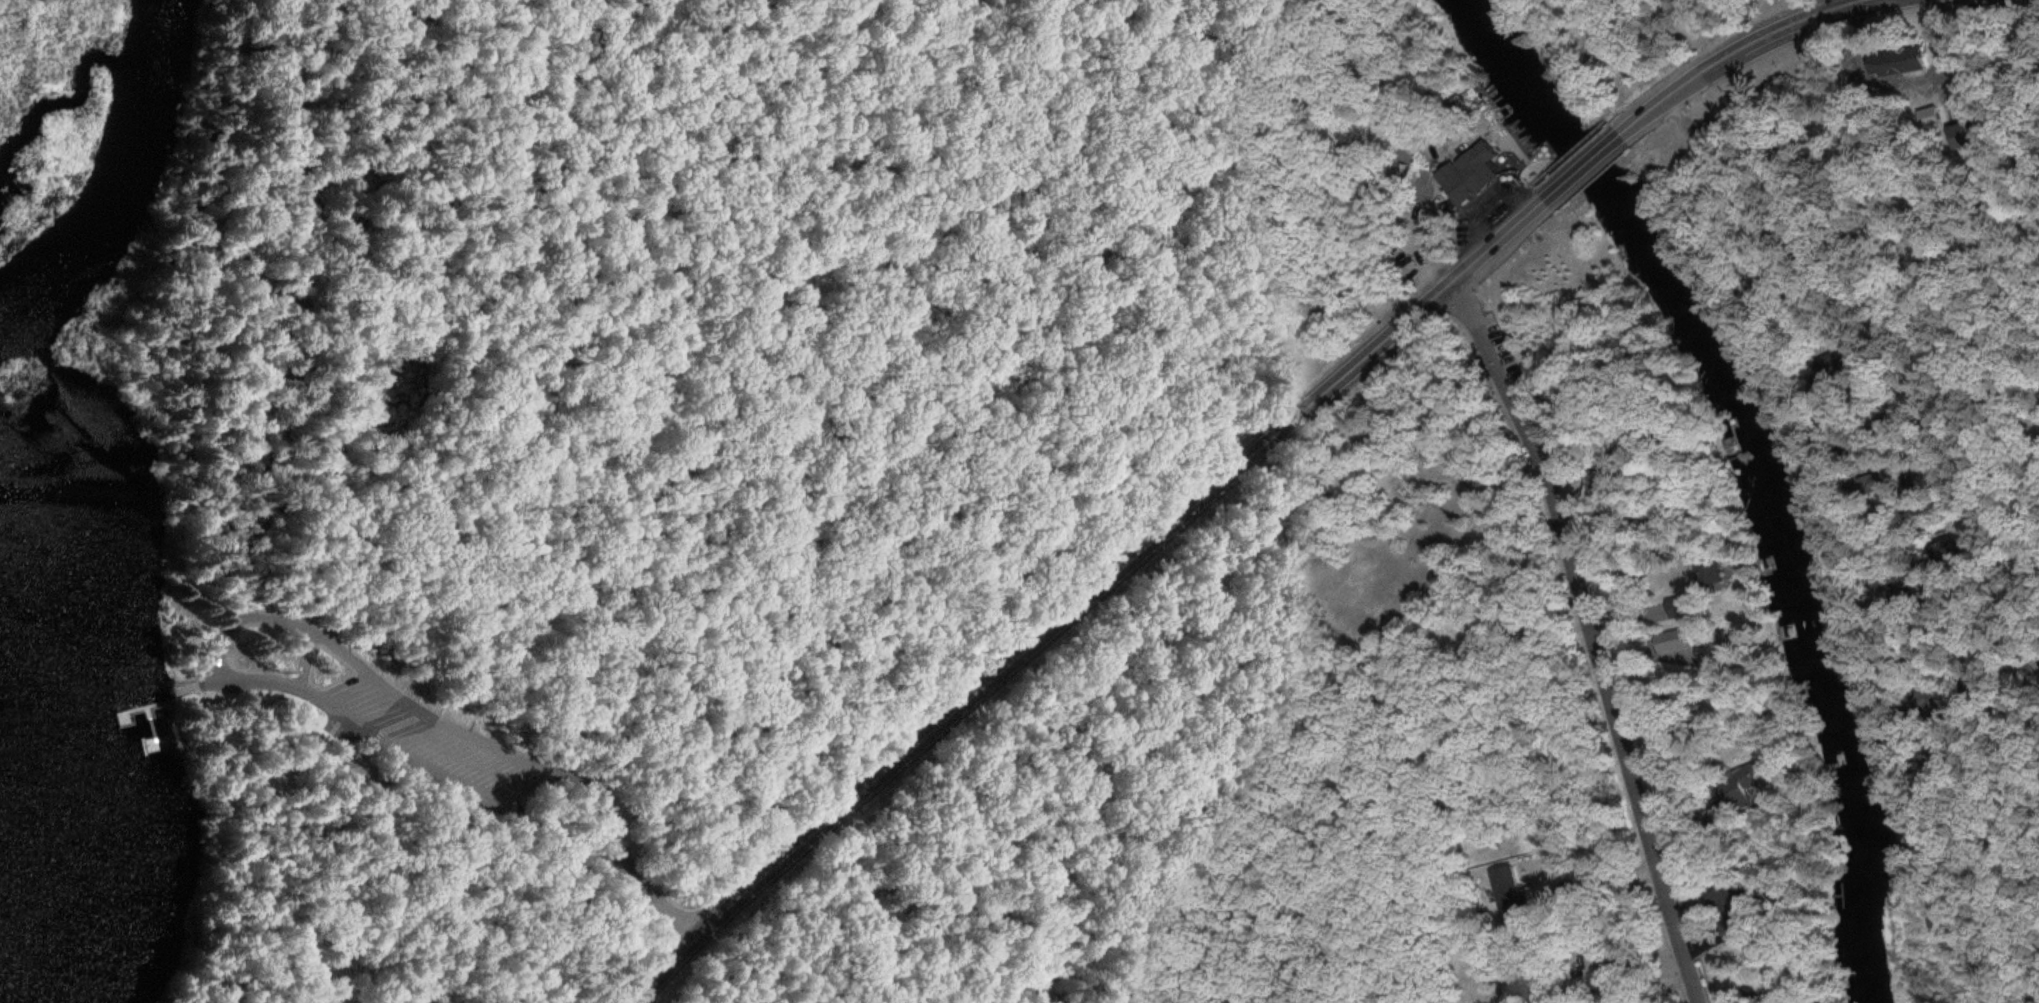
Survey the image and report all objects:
building: (1322, 1)
road: (1859, 2)
road: (1531, 28)
building: (1231, 32)
building: (1208, 39)
road: (1741, 51)
building: (1899, 57)
road: (1596, 61)
parking lot: (1901, 74)
road: (1905, 82)
road: (1505, 136)
road: (1569, 152)
road: (1581, 167)
building: (1236, 171)
building: (1469, 171)
building: (1194, 177)
river: (120, 182)
road: (818, 192)
road: (1523, 193)
road: (1299, 200)
road: (1479, 202)
building: (1173, 205)
parking lot: (1486, 211)
parking lot: (1413, 222)
road: (1851, 269)
road: (2028, 400)
river: (1763, 464)
building: (1711, 581)
road: (1088, 599)
road: (1595, 634)
road: (302, 661)
road: (196, 687)
road: (274, 695)
pier: (160, 706)
road: (417, 713)
road: (345, 734)
parking lot: (428, 743)
road: (421, 766)
building: (358, 769)
building: (269, 783)
road: (2023, 838)
road: (655, 907)

